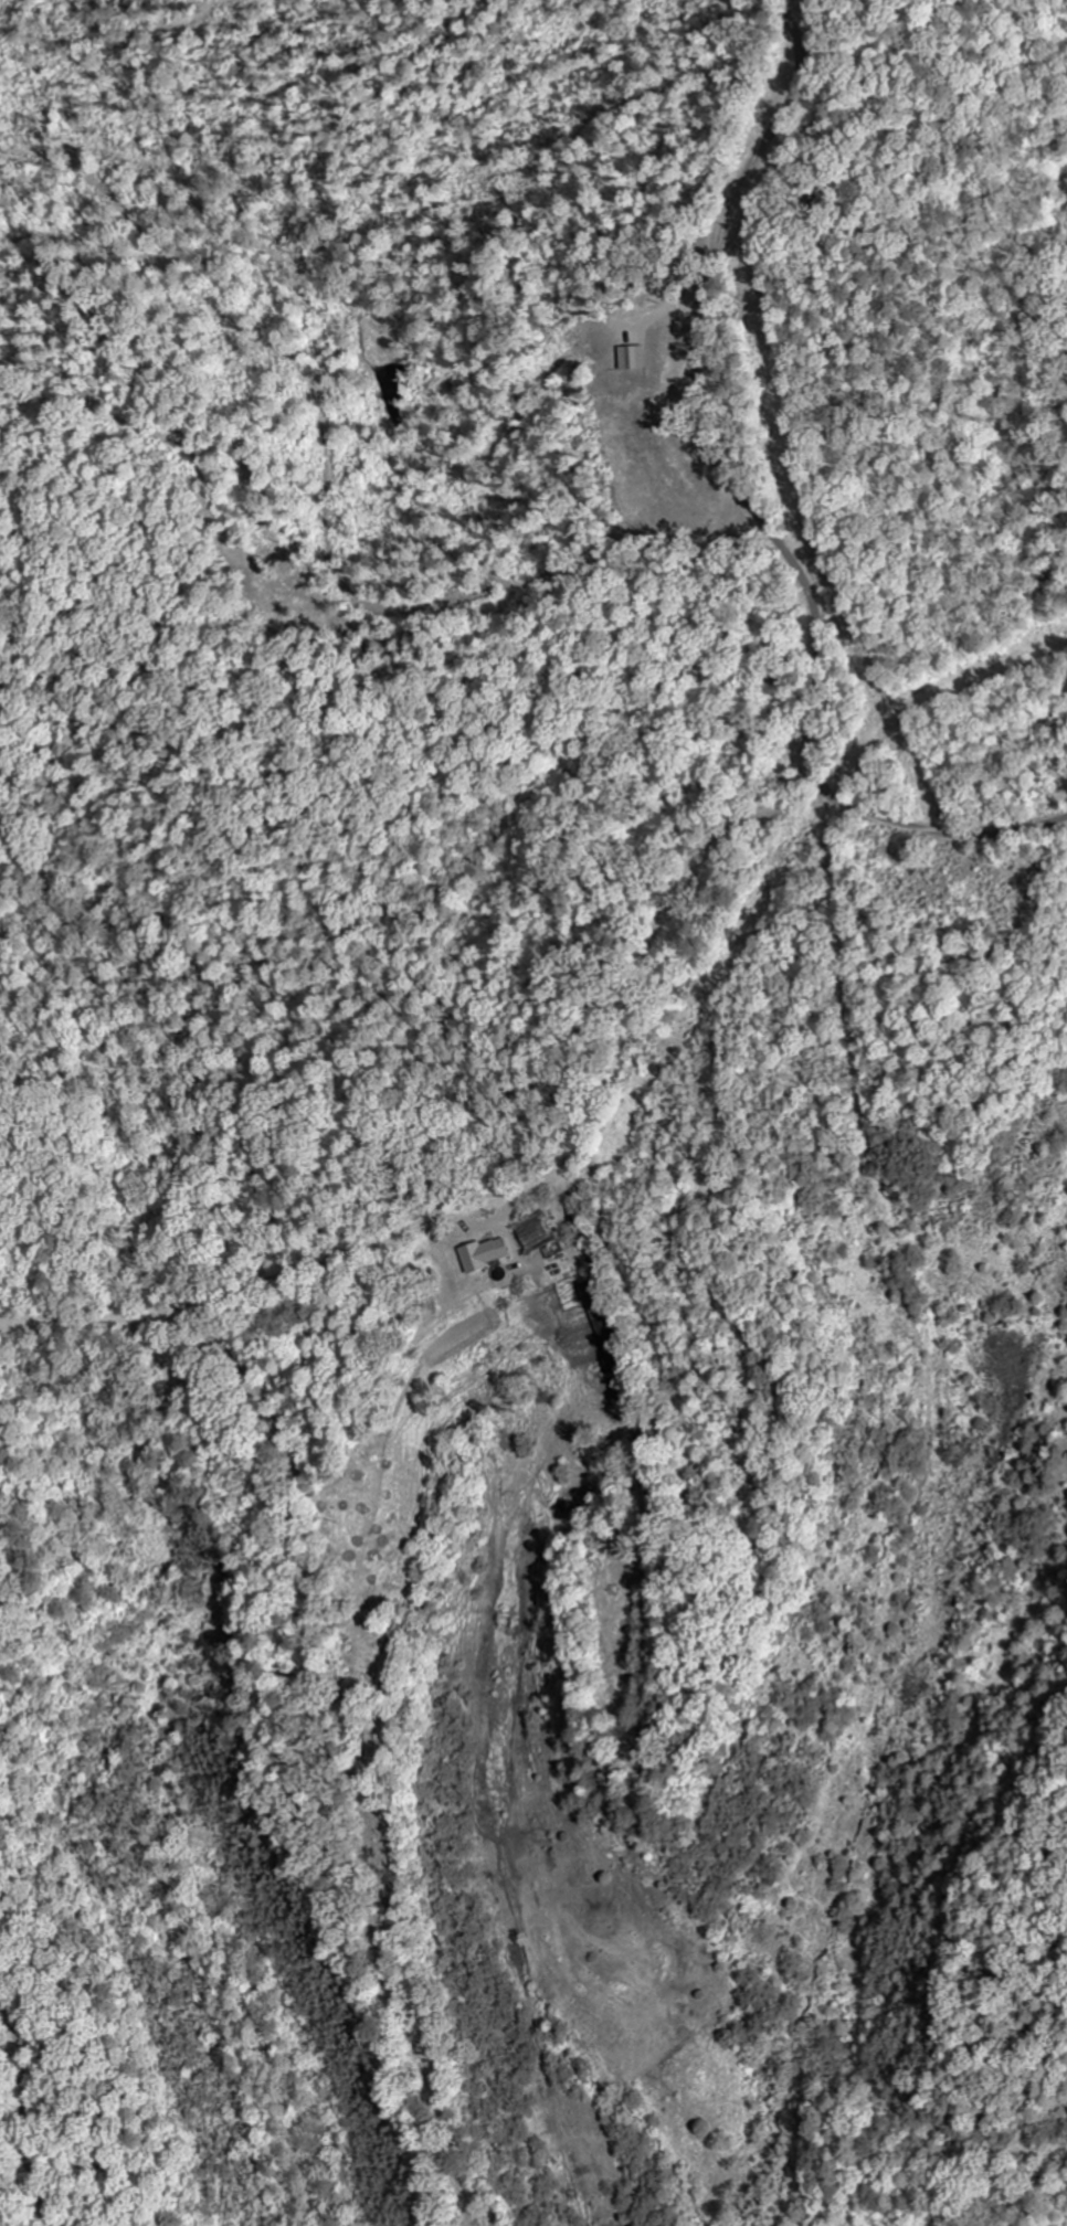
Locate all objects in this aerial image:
road: (701, 421)
road: (812, 768)
road: (952, 836)
road: (524, 1190)
road: (886, 1223)
building: (532, 1232)
building: (482, 1254)

